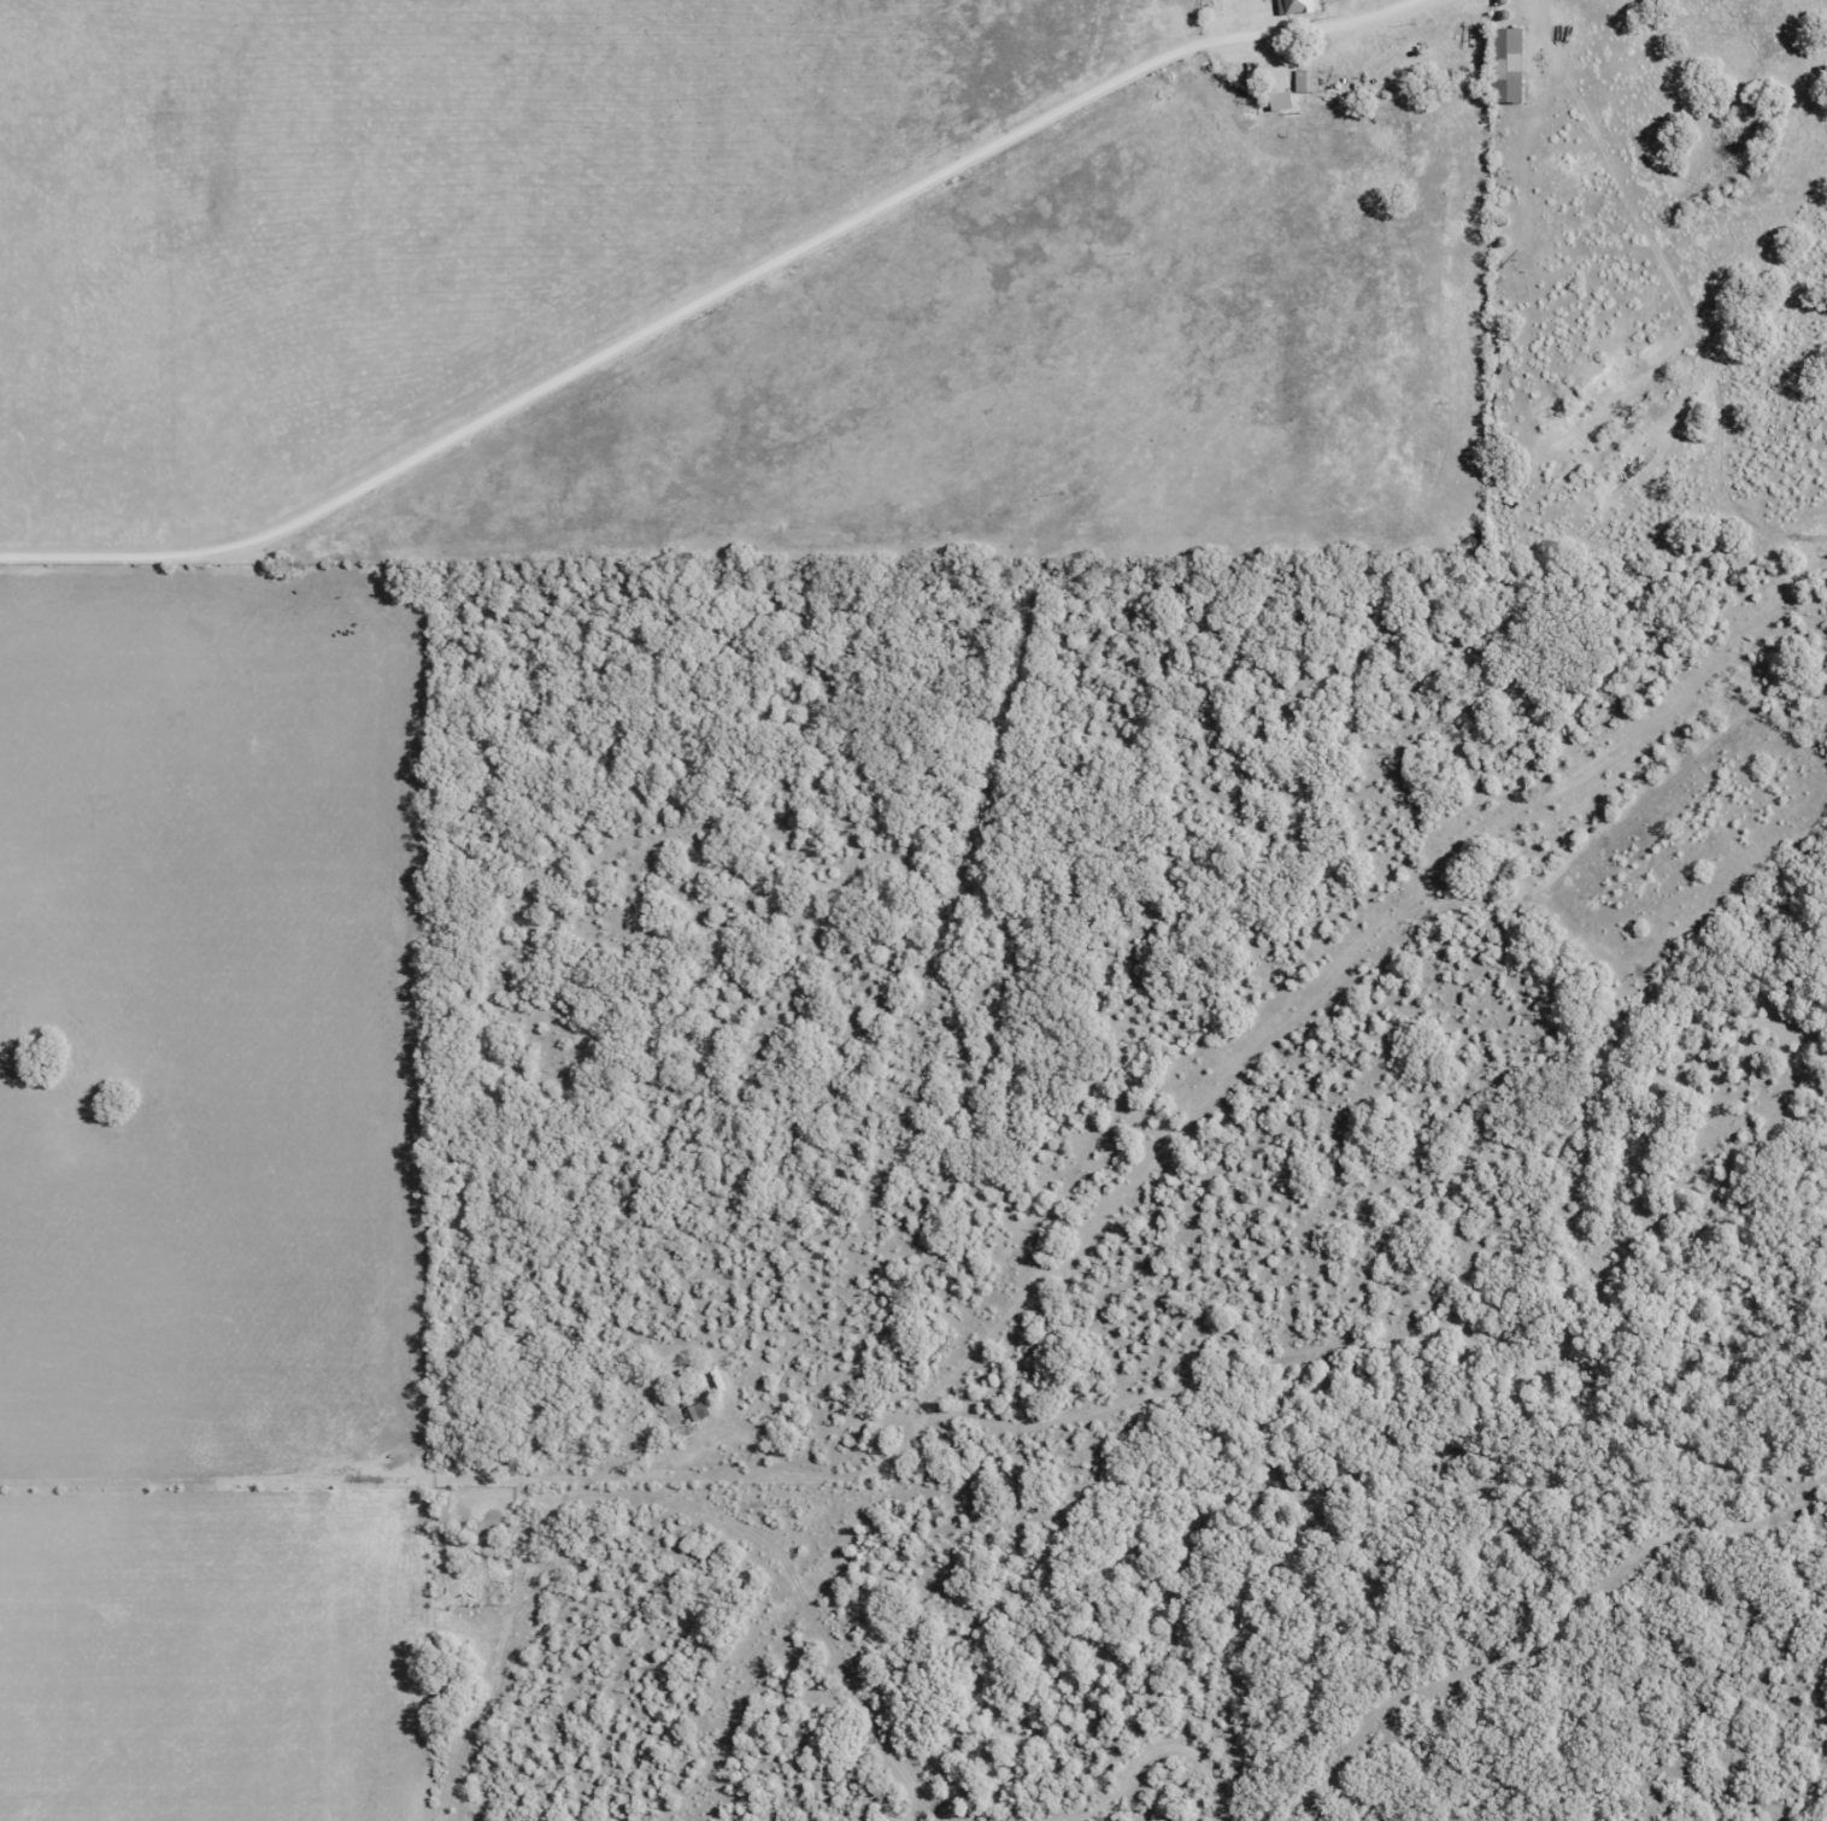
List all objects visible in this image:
building: (1296, 7)
building: (1506, 65)
building: (1304, 81)
road: (713, 300)
building: (691, 1403)

